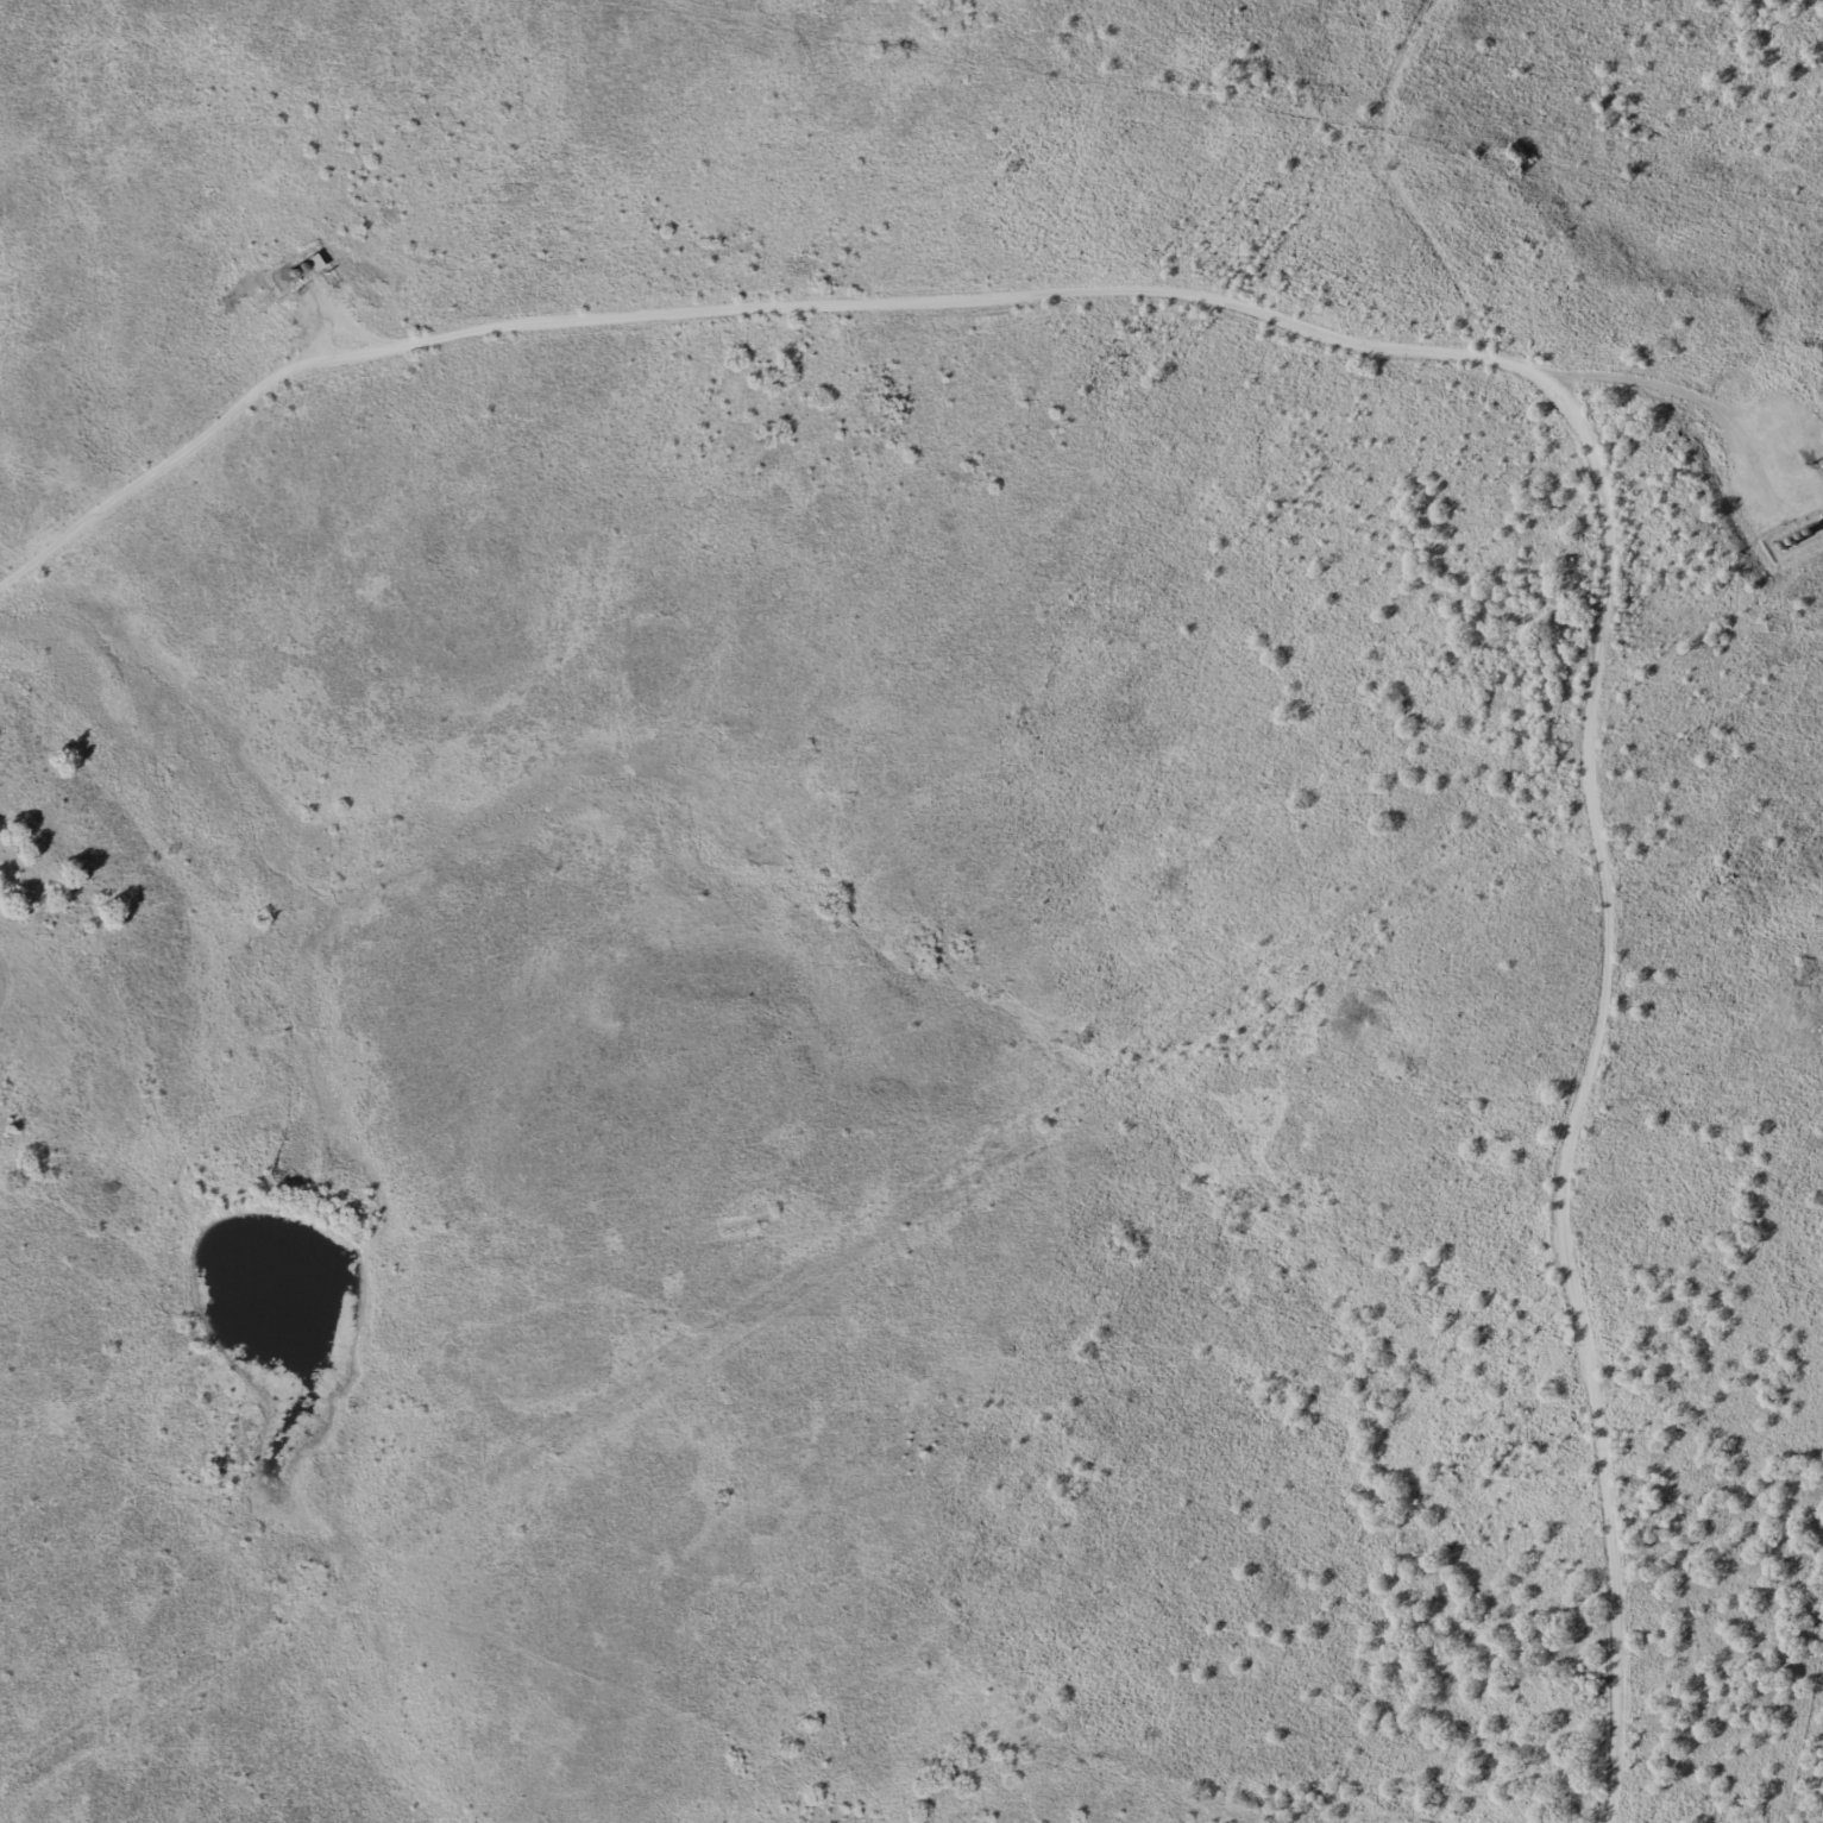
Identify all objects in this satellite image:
road: (753, 301)
road: (1614, 970)

